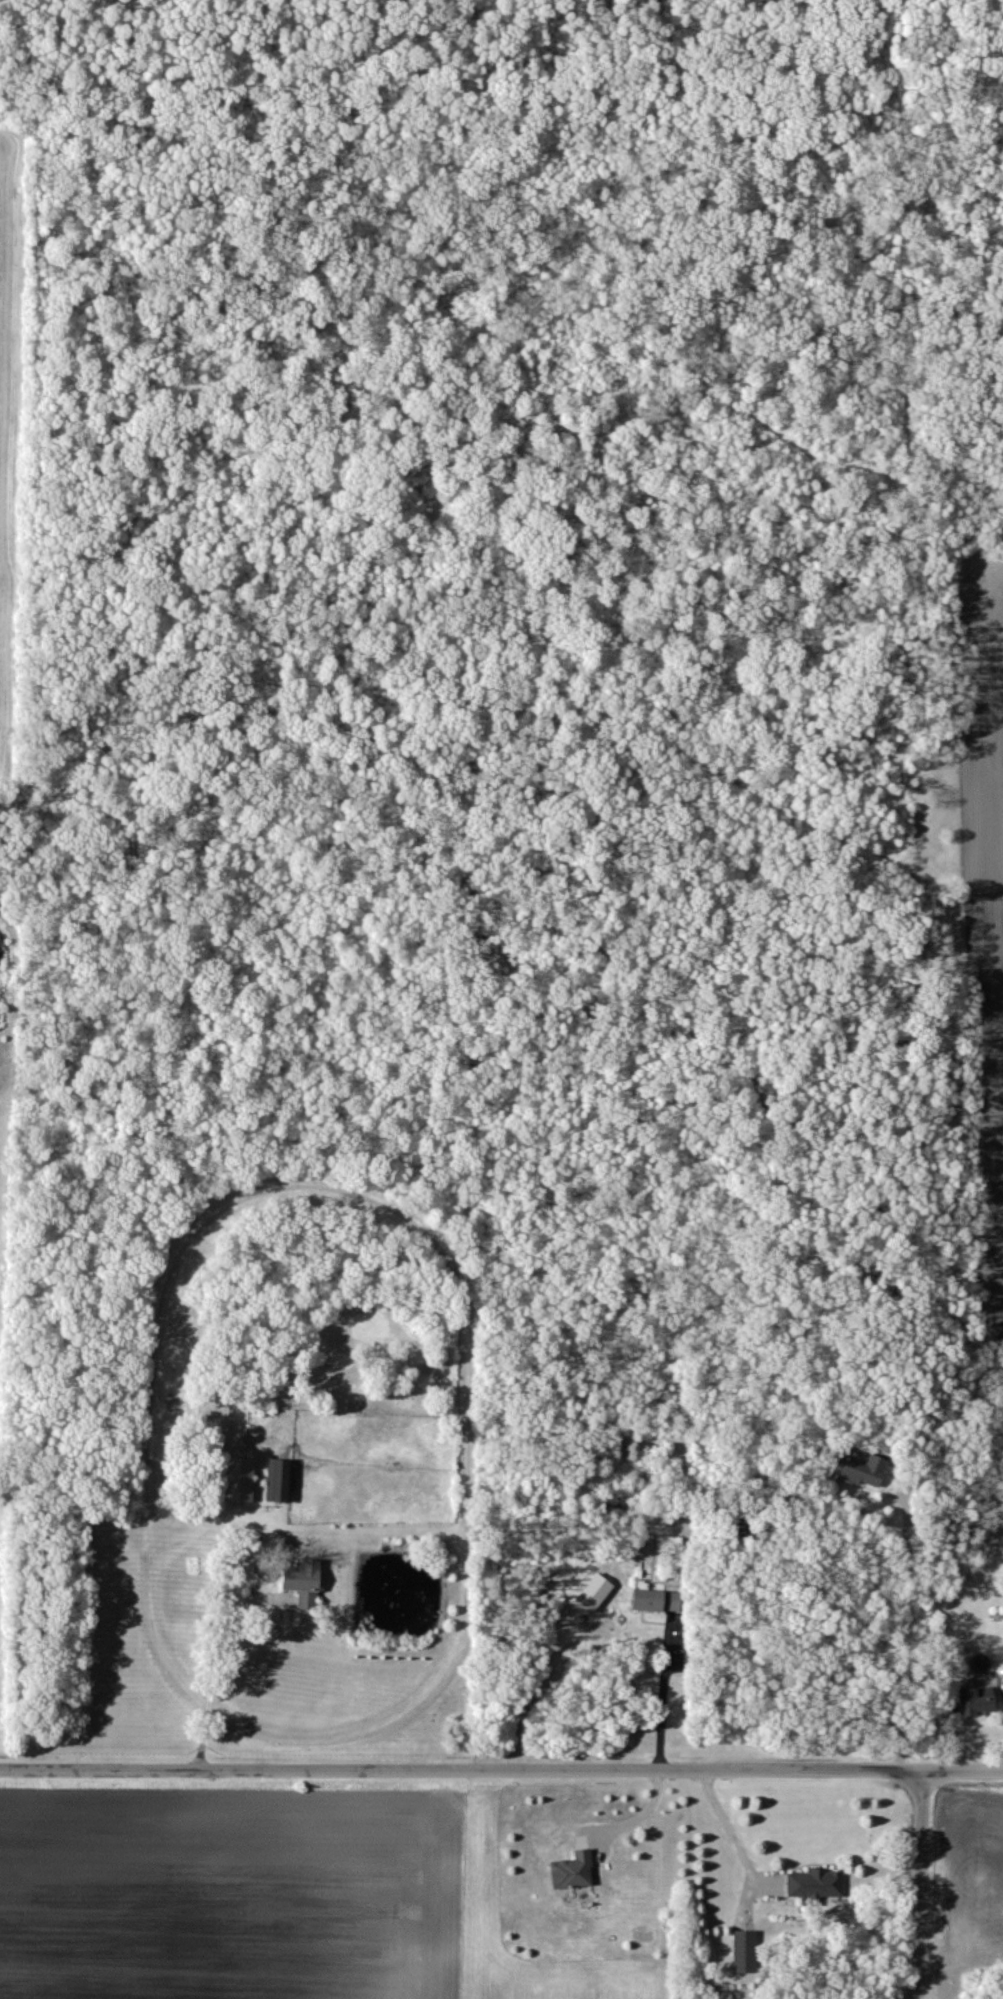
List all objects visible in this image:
building: (861, 1471)
building: (239, 1480)
building: (281, 1482)
building: (303, 1584)
building: (595, 1594)
building: (656, 1602)
road: (899, 1629)
road: (216, 1677)
road: (534, 1692)
road: (665, 1694)
building: (975, 1702)
road: (501, 1769)
road: (641, 1815)
road: (726, 1823)
building: (573, 1872)
road: (917, 1883)
building: (815, 1886)
building: (744, 1953)

